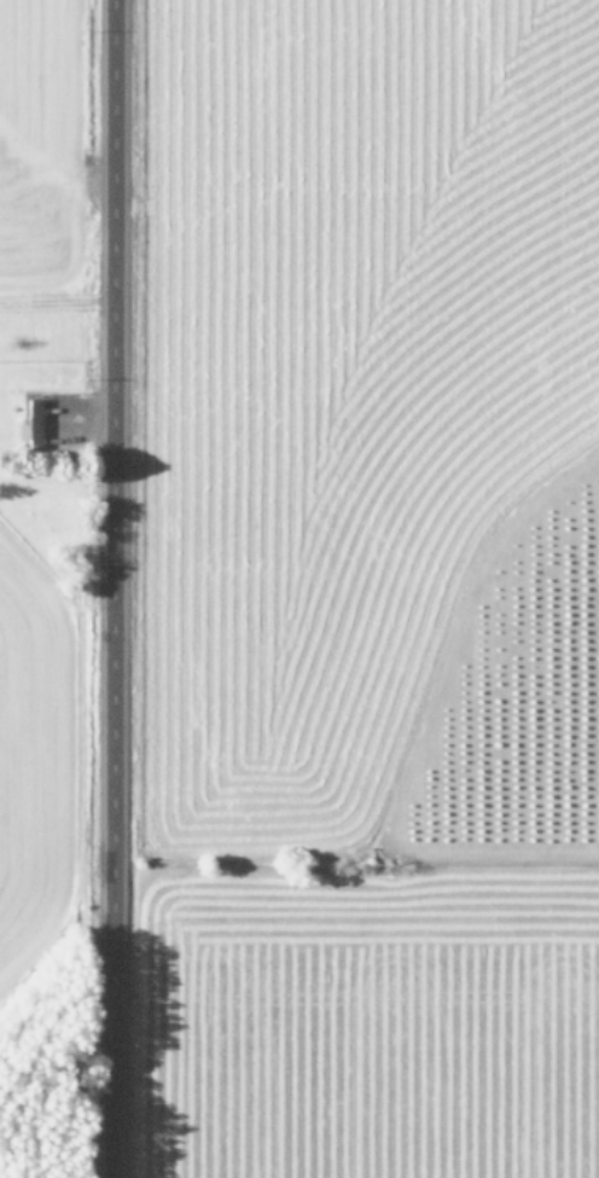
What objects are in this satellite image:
crop: (24, 584)
road: (101, 588)
crop: (371, 588)

